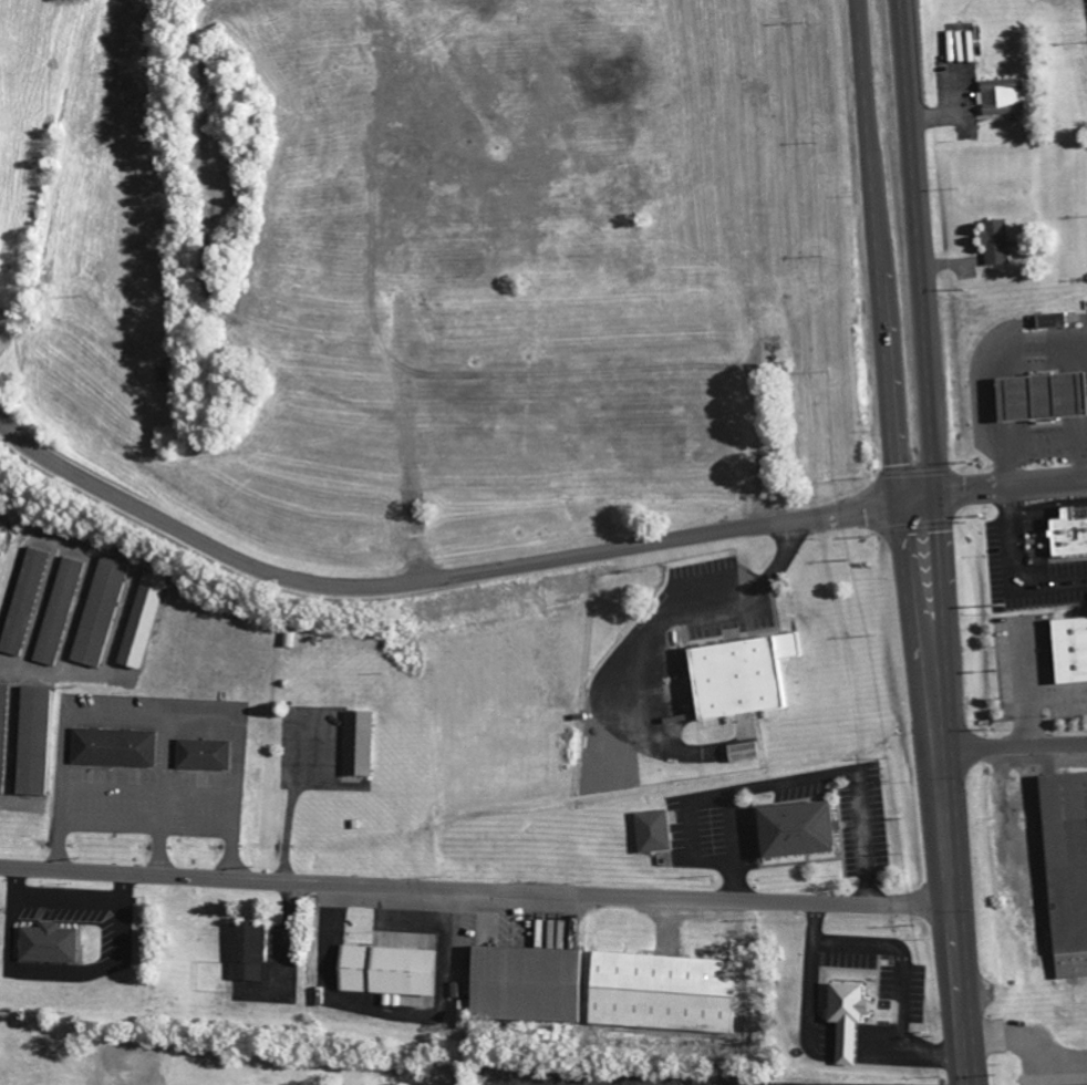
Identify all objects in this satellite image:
building: (1000, 96)
building: (992, 240)
road: (924, 302)
road: (881, 304)
building: (1048, 320)
building: (1037, 395)
road: (992, 492)
road: (1048, 506)
building: (1066, 534)
road: (1015, 569)
road: (429, 575)
building: (29, 601)
building: (63, 611)
building: (104, 611)
building: (146, 620)
road: (649, 639)
road: (932, 642)
building: (1067, 649)
building: (737, 675)
road: (118, 714)
building: (6, 735)
building: (39, 741)
building: (358, 743)
building: (118, 747)
road: (1014, 747)
building: (209, 754)
road: (189, 790)
building: (650, 830)
building: (1065, 869)
road: (953, 881)
road: (477, 890)
building: (54, 943)
building: (249, 952)
building: (386, 971)
building: (663, 990)
building: (845, 1019)
building: (1081, 1084)

